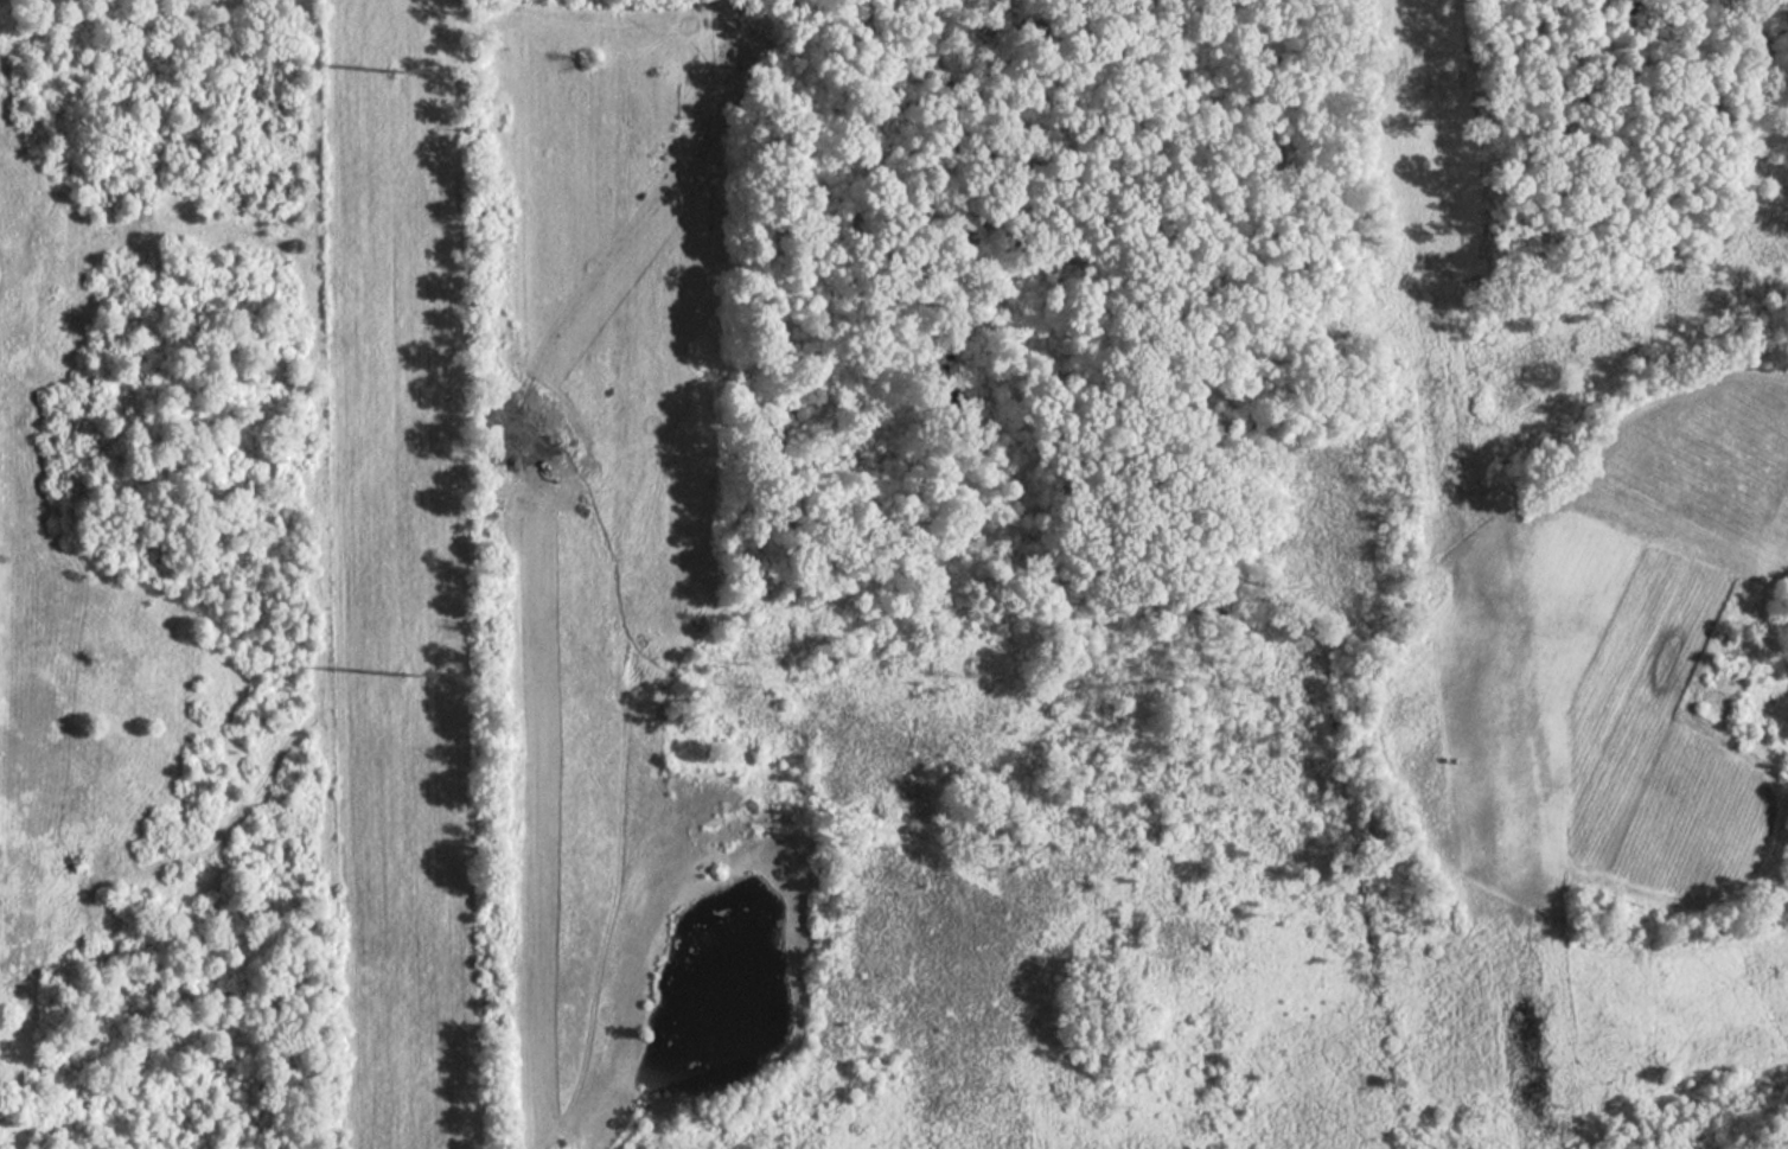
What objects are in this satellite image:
power tower: (391, 78)
wastewater plant: (170, 580)
power tower: (402, 678)

